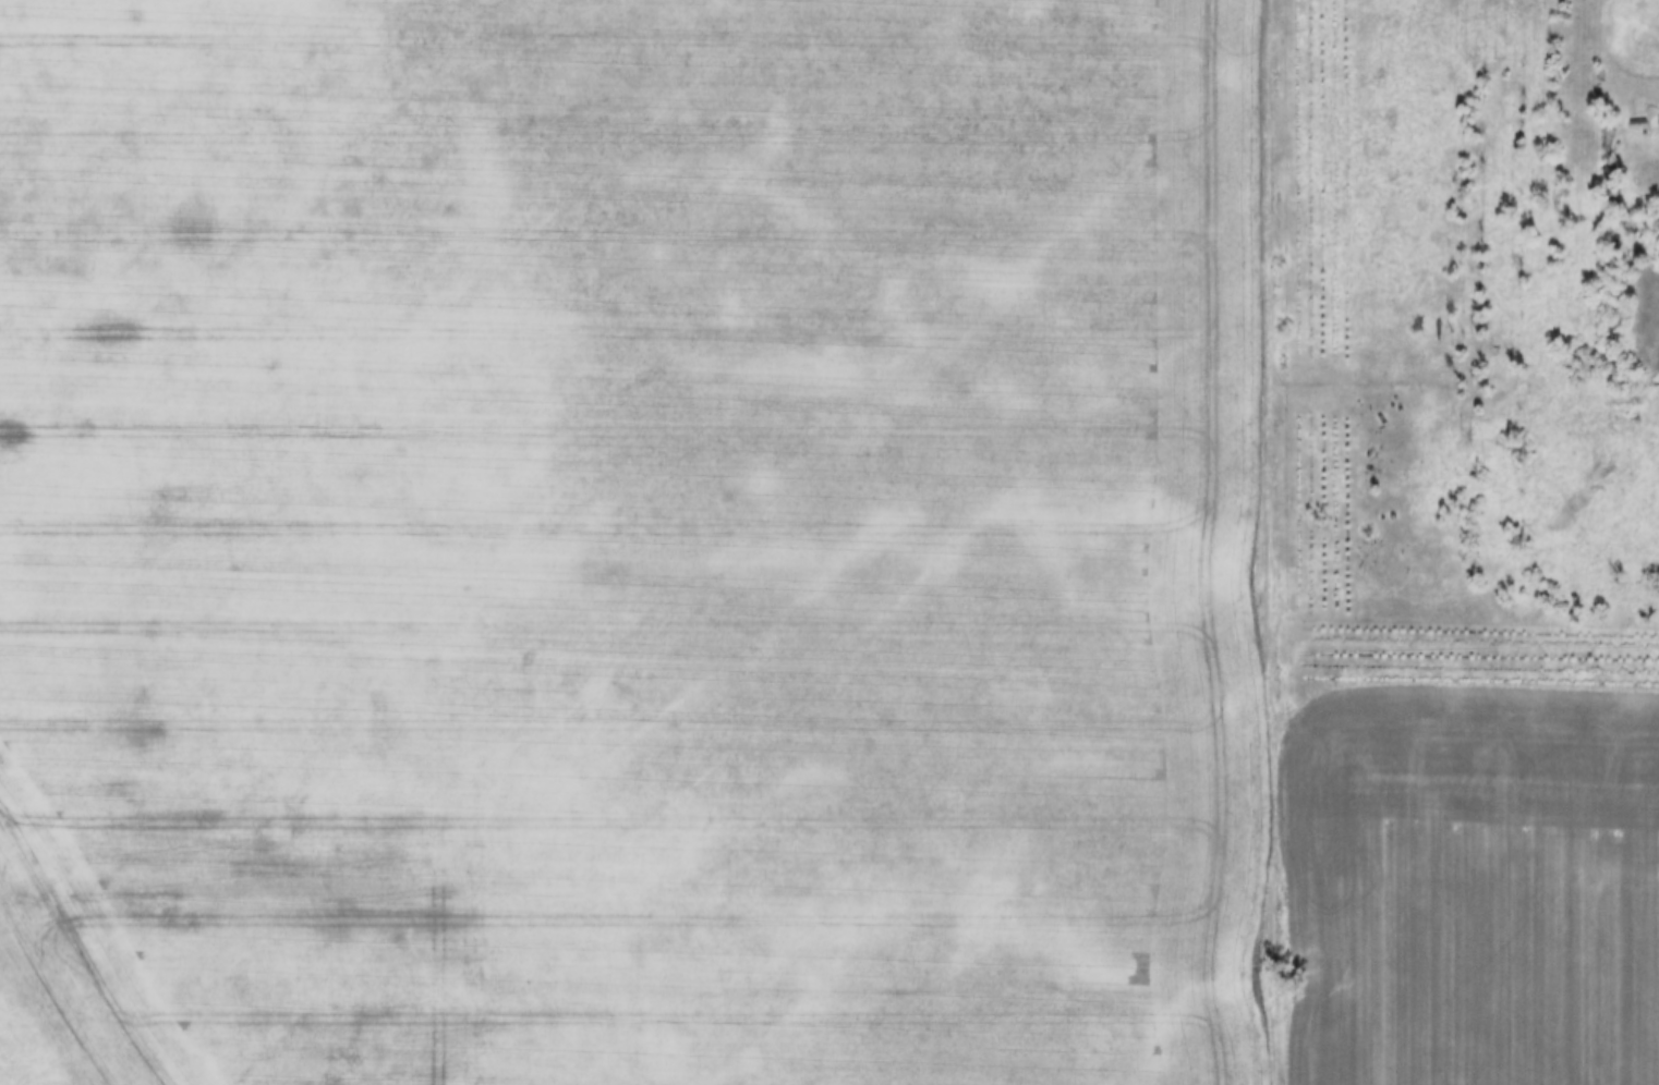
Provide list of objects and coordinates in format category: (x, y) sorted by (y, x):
building: (1637, 115)
building: (1658, 115)
building: (1609, 183)
silo: (1609, 183)
building: (1625, 209)
silo: (1625, 209)
road: (1264, 541)

